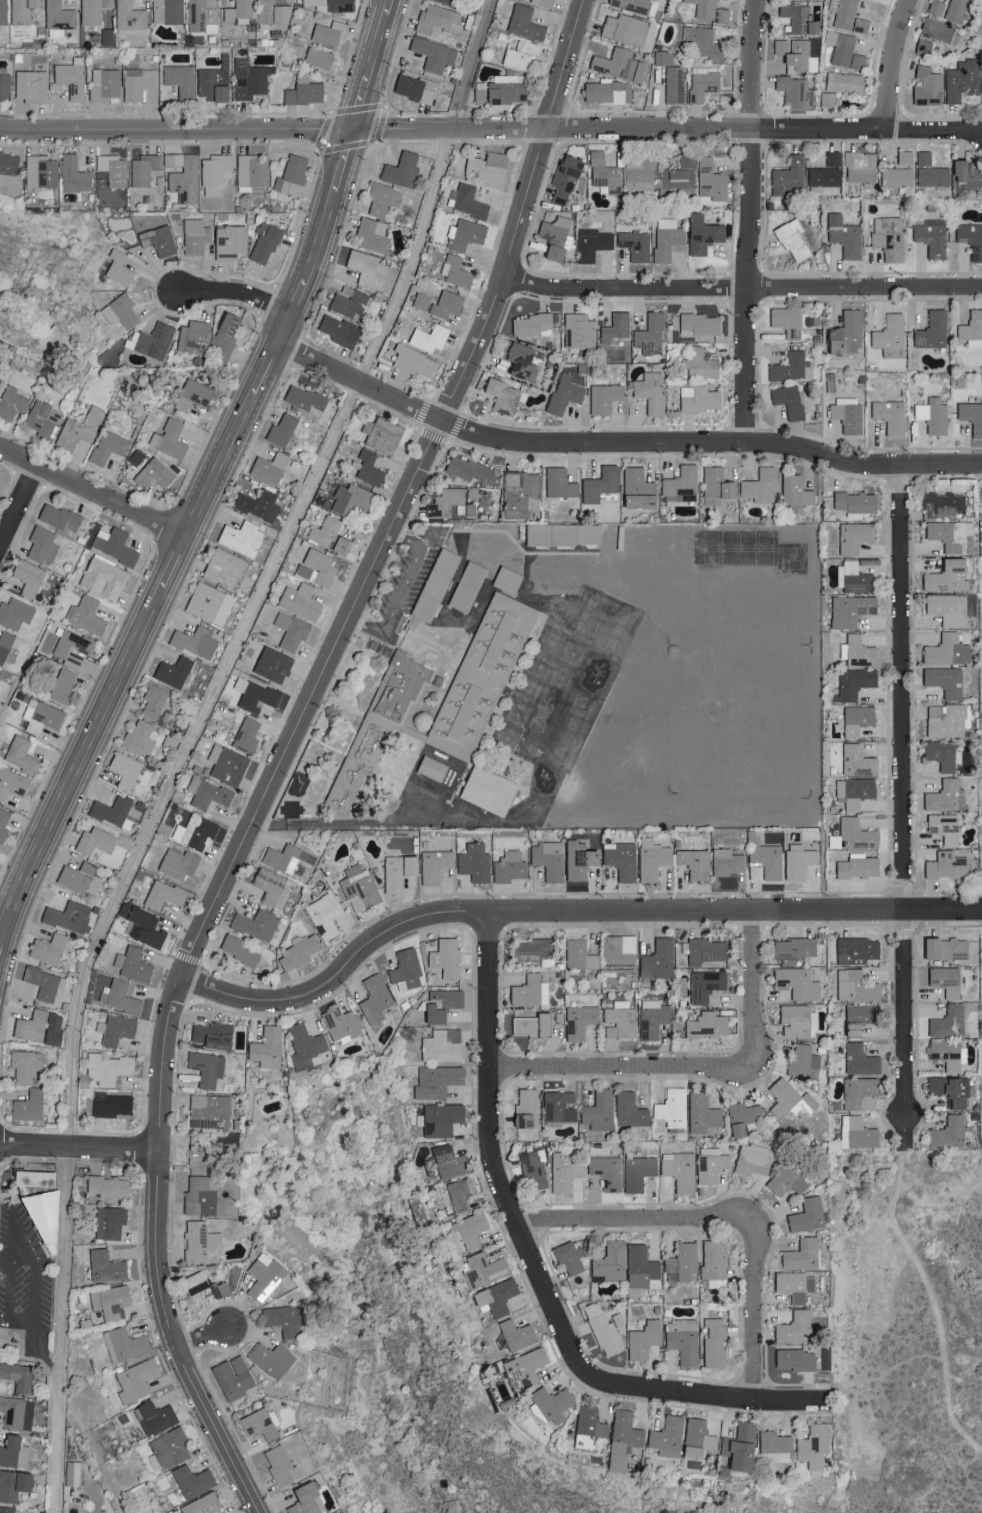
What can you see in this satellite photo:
building: (445, 1)
building: (542, 2)
building: (329, 5)
building: (634, 5)
building: (934, 7)
building: (19, 10)
building: (91, 10)
building: (709, 10)
building: (954, 10)
building: (165, 11)
building: (238, 11)
building: (2, 12)
building: (271, 13)
building: (842, 13)
building: (200, 15)
building: (128, 16)
building: (434, 18)
building: (796, 18)
building: (523, 23)
building: (859, 25)
building: (624, 29)
building: (326, 31)
building: (938, 31)
building: (701, 42)
building: (843, 51)
building: (432, 54)
building: (792, 54)
building: (518, 56)
building: (319, 61)
road: (891, 62)
road: (367, 63)
building: (616, 64)
building: (69, 77)
building: (248, 79)
building: (178, 80)
building: (960, 80)
building: (212, 81)
building: (703, 81)
building: (845, 83)
building: (103, 84)
building: (673, 84)
building: (29, 85)
building: (138, 85)
building: (925, 86)
building: (3, 87)
building: (413, 88)
building: (302, 91)
building: (606, 91)
building: (498, 92)
building: (793, 92)
building: (981, 95)
building: (826, 99)
road: (666, 126)
traffic signals: (351, 127)
road: (175, 129)
building: (903, 157)
building: (7, 163)
building: (484, 167)
building: (142, 169)
building: (859, 169)
building: (399, 170)
building: (38, 171)
building: (114, 171)
building: (929, 171)
building: (249, 172)
building: (824, 172)
building: (212, 173)
building: (603, 173)
building: (71, 174)
building: (291, 175)
building: (638, 175)
building: (964, 175)
building: (786, 176)
building: (678, 177)
building: (894, 178)
building: (183, 180)
building: (562, 180)
building: (710, 180)
building: (381, 199)
building: (467, 202)
road: (748, 223)
building: (552, 230)
building: (465, 234)
building: (701, 234)
building: (370, 235)
building: (193, 236)
building: (843, 236)
building: (887, 237)
building: (930, 237)
building: (665, 238)
building: (791, 238)
building: (970, 239)
building: (157, 240)
building: (226, 242)
building: (591, 244)
building: (634, 245)
building: (263, 246)
building: (550, 253)
building: (116, 268)
building: (366, 269)
building: (453, 271)
road: (742, 287)
road: (235, 292)
building: (347, 302)
building: (437, 303)
building: (118, 311)
building: (784, 320)
building: (697, 324)
building: (614, 327)
building: (971, 329)
building: (930, 330)
building: (337, 331)
building: (576, 331)
building: (843, 335)
building: (192, 336)
building: (888, 336)
building: (221, 337)
building: (426, 337)
building: (152, 341)
building: (411, 361)
building: (519, 361)
building: (698, 363)
building: (789, 367)
building: (649, 392)
building: (562, 394)
building: (191, 395)
building: (500, 396)
building: (602, 398)
building: (697, 398)
building: (303, 400)
building: (786, 400)
building: (11, 403)
building: (846, 414)
building: (931, 415)
building: (888, 416)
building: (971, 417)
building: (43, 419)
building: (78, 429)
building: (281, 430)
building: (381, 436)
building: (167, 439)
road: (618, 445)
building: (107, 447)
building: (135, 457)
building: (268, 468)
building: (365, 468)
building: (464, 468)
building: (153, 474)
building: (635, 481)
building: (557, 483)
building: (598, 484)
building: (714, 486)
building: (759, 486)
road: (92, 490)
building: (794, 491)
building: (519, 493)
building: (450, 496)
building: (348, 499)
building: (898, 499)
building: (940, 499)
building: (637, 501)
road: (18, 502)
building: (852, 502)
building: (437, 510)
building: (56, 517)
building: (946, 534)
building: (327, 535)
building: (555, 536)
building: (852, 537)
road: (181, 538)
building: (239, 538)
building: (655, 544)
building: (112, 545)
building: (40, 546)
building: (318, 566)
building: (222, 568)
building: (302, 571)
building: (26, 577)
building: (853, 577)
building: (101, 578)
building: (943, 578)
building: (511, 581)
building: (439, 587)
building: (472, 588)
parking lot: (401, 592)
road: (405, 594)
building: (297, 601)
building: (207, 603)
building: (945, 609)
building: (849, 610)
building: (14, 614)
building: (84, 615)
building: (289, 631)
building: (193, 642)
building: (4, 644)
building: (944, 650)
building: (855, 652)
building: (270, 665)
building: (172, 672)
building: (485, 678)
building: (943, 681)
building: (238, 684)
building: (852, 684)
building: (60, 687)
building: (255, 696)
building: (153, 701)
building: (39, 717)
building: (855, 720)
building: (945, 721)
building: (383, 727)
building: (244, 735)
road: (189, 738)
building: (139, 739)
road: (283, 749)
building: (19, 755)
building: (941, 755)
building: (856, 761)
building: (225, 765)
building: (437, 768)
building: (127, 771)
building: (11, 783)
building: (485, 790)
building: (853, 792)
road: (899, 794)
building: (209, 795)
building: (944, 796)
building: (111, 811)
building: (3, 822)
road: (339, 823)
building: (942, 828)
building: (193, 832)
building: (856, 834)
building: (93, 842)
building: (280, 858)
building: (650, 859)
building: (546, 860)
building: (576, 860)
building: (620, 861)
building: (725, 861)
building: (766, 861)
building: (796, 861)
building: (472, 863)
building: (692, 863)
building: (177, 864)
building: (433, 866)
building: (944, 866)
building: (507, 867)
building: (856, 867)
building: (395, 873)
building: (77, 878)
building: (268, 887)
building: (357, 888)
building: (162, 895)
road: (565, 909)
building: (322, 915)
building: (67, 916)
building: (254, 925)
building: (140, 926)
road: (2, 930)
building: (792, 947)
building: (46, 948)
building: (943, 948)
building: (239, 949)
building: (534, 950)
building: (704, 950)
building: (855, 950)
building: (296, 953)
building: (616, 955)
building: (578, 956)
building: (443, 957)
building: (657, 958)
building: (131, 964)
building: (404, 969)
road: (752, 980)
building: (943, 980)
building: (42, 982)
building: (796, 982)
building: (704, 984)
building: (855, 986)
building: (528, 991)
building: (120, 997)
building: (373, 998)
building: (440, 1004)
building: (859, 1012)
building: (652, 1018)
building: (619, 1019)
building: (794, 1019)
building: (578, 1021)
building: (946, 1022)
building: (339, 1024)
building: (31, 1025)
building: (529, 1025)
building: (705, 1025)
building: (850, 1027)
building: (114, 1029)
building: (208, 1034)
building: (441, 1045)
building: (303, 1046)
building: (265, 1047)
building: (945, 1053)
building: (858, 1059)
building: (801, 1061)
building: (23, 1064)
building: (205, 1067)
building: (106, 1068)
road: (626, 1070)
building: (435, 1081)
building: (948, 1089)
building: (858, 1093)
building: (786, 1098)
building: (109, 1104)
building: (26, 1105)
building: (557, 1106)
building: (670, 1107)
building: (524, 1108)
building: (207, 1110)
building: (597, 1110)
building: (628, 1110)
building: (700, 1113)
building: (740, 1116)
building: (438, 1119)
building: (856, 1132)
building: (948, 1132)
road: (78, 1146)
building: (445, 1162)
road: (492, 1164)
building: (709, 1164)
building: (533, 1167)
building: (677, 1170)
building: (606, 1171)
building: (562, 1172)
building: (637, 1172)
building: (784, 1181)
building: (106, 1186)
building: (198, 1194)
building: (454, 1194)
building: (34, 1205)
building: (805, 1215)
building: (108, 1222)
road: (641, 1222)
building: (465, 1230)
building: (197, 1240)
building: (800, 1254)
building: (568, 1257)
road: (26, 1261)
building: (609, 1262)
building: (680, 1263)
building: (712, 1264)
building: (104, 1266)
building: (641, 1268)
building: (480, 1269)
building: (262, 1276)
building: (202, 1284)
building: (792, 1285)
road: (929, 1287)
building: (493, 1297)
building: (108, 1301)
road: (38, 1316)
building: (615, 1318)
building: (279, 1319)
road: (755, 1323)
building: (792, 1328)
building: (602, 1331)
road: (201, 1335)
building: (512, 1335)
building: (642, 1339)
building: (682, 1340)
building: (713, 1343)
building: (123, 1344)
building: (788, 1358)
building: (270, 1359)
building: (523, 1366)
building: (16, 1376)
building: (232, 1377)
building: (133, 1380)
road: (715, 1398)
building: (15, 1413)
building: (152, 1417)
building: (257, 1423)
building: (587, 1427)
building: (697, 1433)
building: (665, 1437)
building: (621, 1439)
building: (736, 1446)
building: (811, 1446)
building: (168, 1447)
building: (772, 1447)
building: (688, 1450)
building: (12, 1451)
building: (278, 1465)
building: (190, 1480)
building: (12, 1484)
building: (303, 1499)
building: (201, 1504)
building: (9, 1510)

